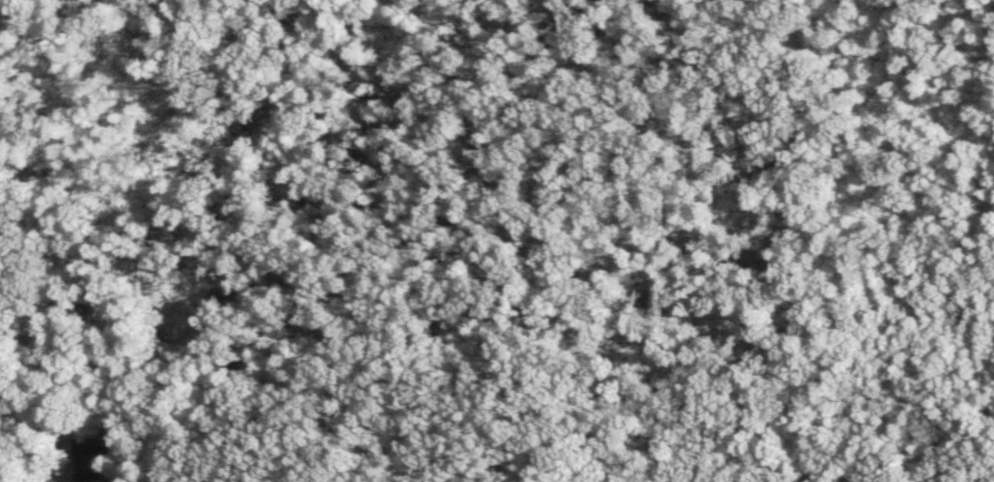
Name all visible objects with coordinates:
building: (93, 455)
road: (118, 480)

